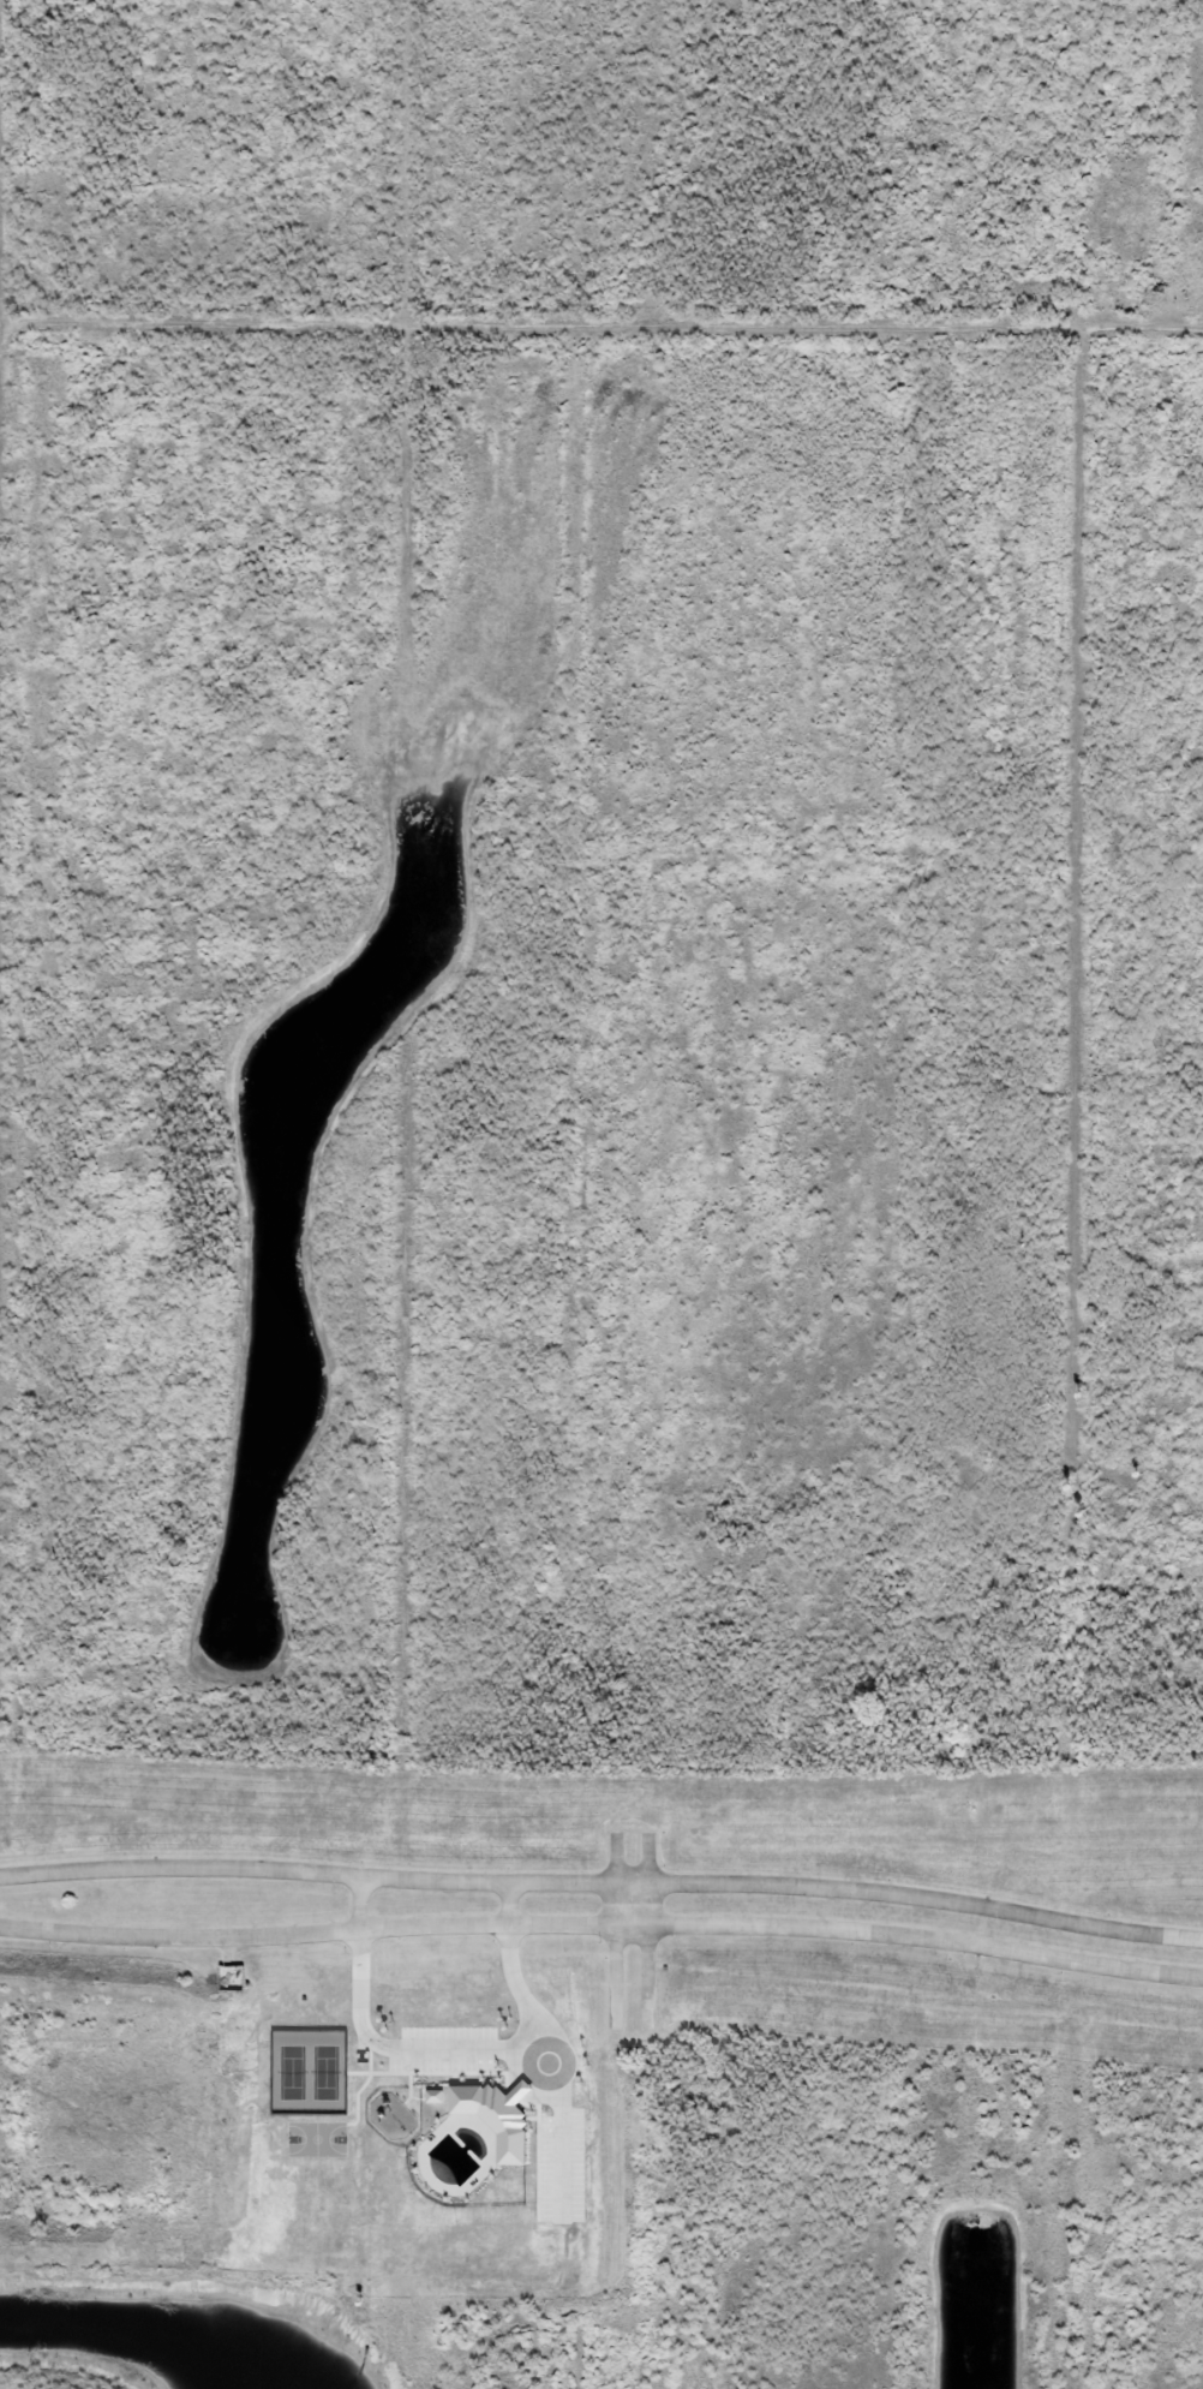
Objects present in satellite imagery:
road: (603, 1886)
road: (507, 1903)
road: (603, 1925)
road: (615, 1930)
road: (648, 1933)
road: (534, 2015)
road: (450, 2050)
parking lot: (448, 2051)
road: (371, 2070)
park: (309, 2073)
road: (375, 2074)
building: (433, 2097)
road: (418, 2100)
building: (495, 2116)
park: (317, 2140)
parking lot: (563, 2167)

